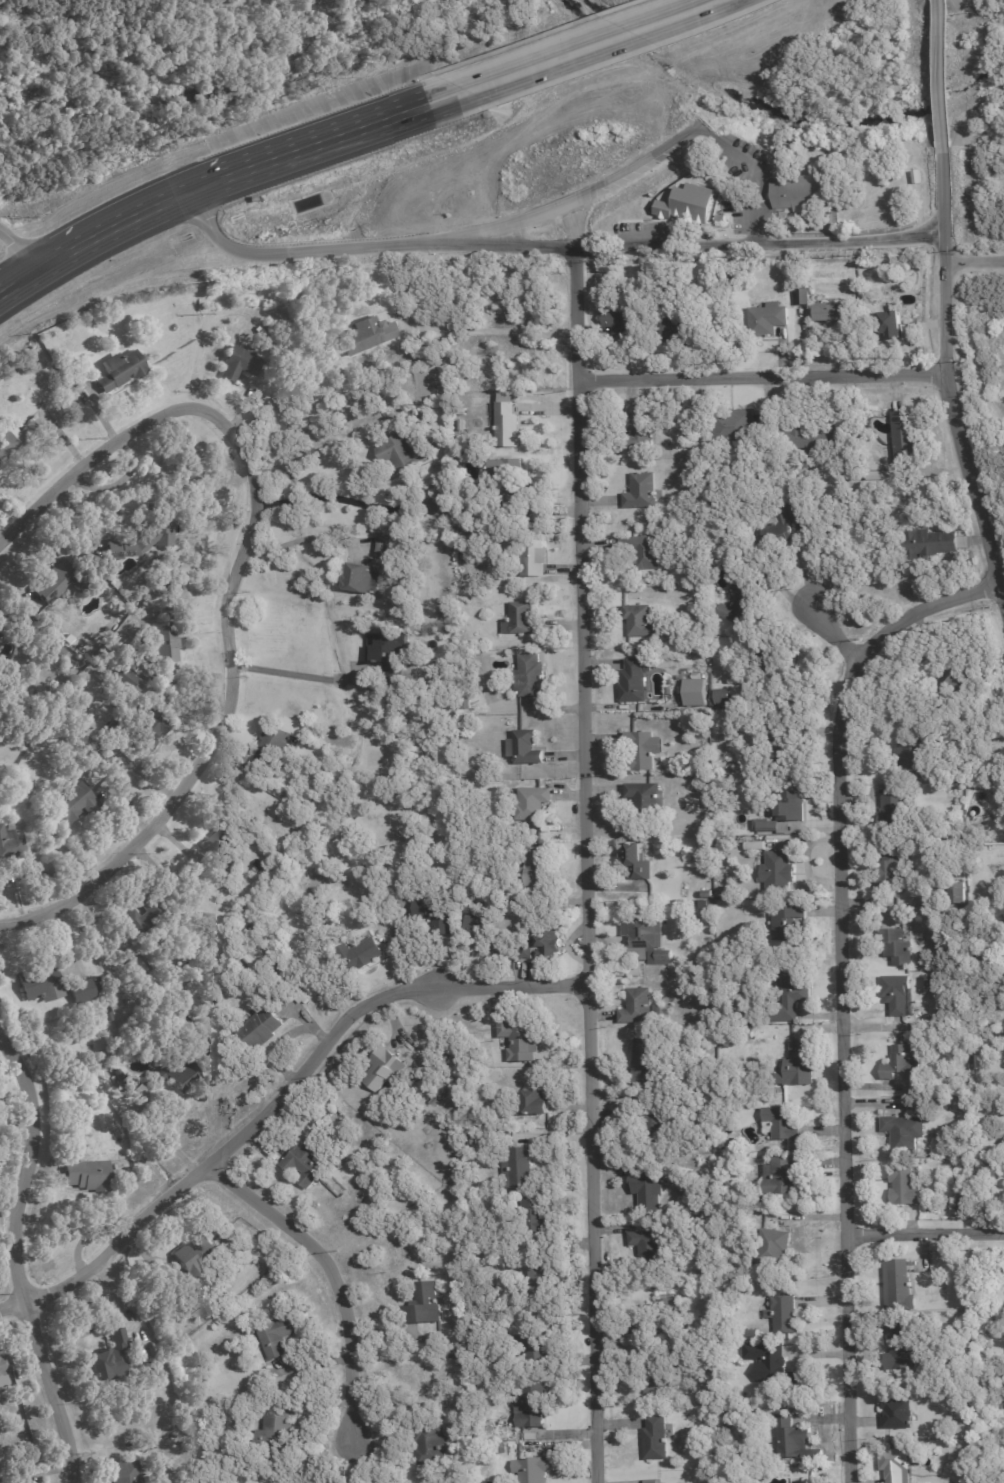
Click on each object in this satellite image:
road: (574, 52)
road: (936, 74)
road: (207, 182)
building: (799, 192)
building: (720, 220)
road: (570, 221)
road: (703, 237)
road: (444, 238)
road: (17, 249)
road: (974, 257)
building: (868, 266)
building: (803, 298)
building: (828, 314)
building: (767, 320)
building: (620, 321)
building: (890, 325)
road: (456, 328)
building: (682, 329)
building: (50, 336)
building: (362, 338)
building: (237, 365)
building: (118, 372)
road: (761, 372)
road: (947, 379)
building: (70, 384)
building: (506, 423)
building: (735, 428)
building: (637, 433)
building: (812, 438)
building: (904, 438)
building: (14, 443)
building: (403, 452)
building: (873, 473)
building: (509, 476)
building: (641, 492)
road: (329, 494)
building: (437, 507)
building: (651, 527)
building: (779, 528)
road: (300, 537)
building: (142, 540)
building: (931, 544)
building: (380, 549)
building: (647, 552)
building: (533, 556)
building: (752, 559)
building: (505, 576)
building: (361, 580)
building: (56, 582)
road: (230, 582)
building: (739, 603)
building: (522, 620)
building: (641, 621)
road: (827, 623)
building: (163, 643)
building: (387, 653)
building: (58, 654)
building: (773, 661)
road: (297, 673)
building: (530, 676)
building: (126, 679)
building: (634, 682)
building: (671, 682)
building: (947, 687)
building: (669, 691)
building: (695, 692)
building: (723, 697)
building: (466, 705)
building: (996, 726)
building: (144, 730)
building: (960, 733)
building: (274, 743)
building: (786, 743)
building: (528, 749)
building: (641, 752)
building: (909, 757)
building: (971, 788)
building: (647, 798)
building: (532, 803)
building: (76, 805)
building: (892, 811)
building: (782, 814)
building: (223, 827)
building: (10, 843)
road: (586, 861)
building: (639, 863)
building: (256, 864)
building: (778, 869)
building: (533, 870)
building: (889, 873)
building: (958, 892)
building: (707, 896)
building: (708, 904)
building: (890, 904)
building: (431, 914)
building: (792, 914)
building: (143, 918)
building: (472, 920)
building: (645, 941)
building: (548, 945)
building: (522, 948)
building: (897, 948)
building: (366, 952)
building: (634, 973)
building: (929, 985)
building: (44, 986)
road: (841, 987)
building: (83, 992)
building: (791, 994)
building: (898, 997)
building: (637, 1007)
building: (108, 1018)
building: (261, 1029)
building: (750, 1036)
building: (782, 1036)
building: (518, 1042)
building: (644, 1062)
building: (800, 1065)
building: (902, 1065)
building: (383, 1069)
building: (173, 1073)
building: (118, 1075)
road: (280, 1093)
building: (536, 1103)
building: (981, 1107)
building: (783, 1123)
building: (655, 1128)
building: (903, 1133)
building: (729, 1142)
building: (1002, 1144)
building: (723, 1157)
building: (347, 1158)
building: (304, 1165)
building: (518, 1167)
building: (85, 1175)
building: (781, 1177)
building: (903, 1186)
building: (648, 1192)
building: (757, 1206)
building: (535, 1215)
road: (924, 1233)
building: (643, 1243)
building: (771, 1245)
building: (195, 1255)
road: (16, 1257)
road: (331, 1269)
building: (537, 1284)
building: (898, 1286)
building: (424, 1306)
building: (783, 1316)
building: (664, 1317)
building: (969, 1331)
building: (276, 1337)
building: (899, 1347)
building: (734, 1348)
building: (455, 1354)
building: (537, 1354)
building: (107, 1358)
building: (769, 1365)
building: (3, 1369)
building: (154, 1371)
building: (659, 1379)
building: (530, 1410)
building: (896, 1414)
building: (271, 1433)
building: (531, 1437)
building: (656, 1439)
building: (791, 1440)
building: (430, 1444)
building: (497, 1449)
building: (894, 1466)
building: (535, 1470)
building: (122, 1473)
building: (649, 1480)
building: (967, 1482)

